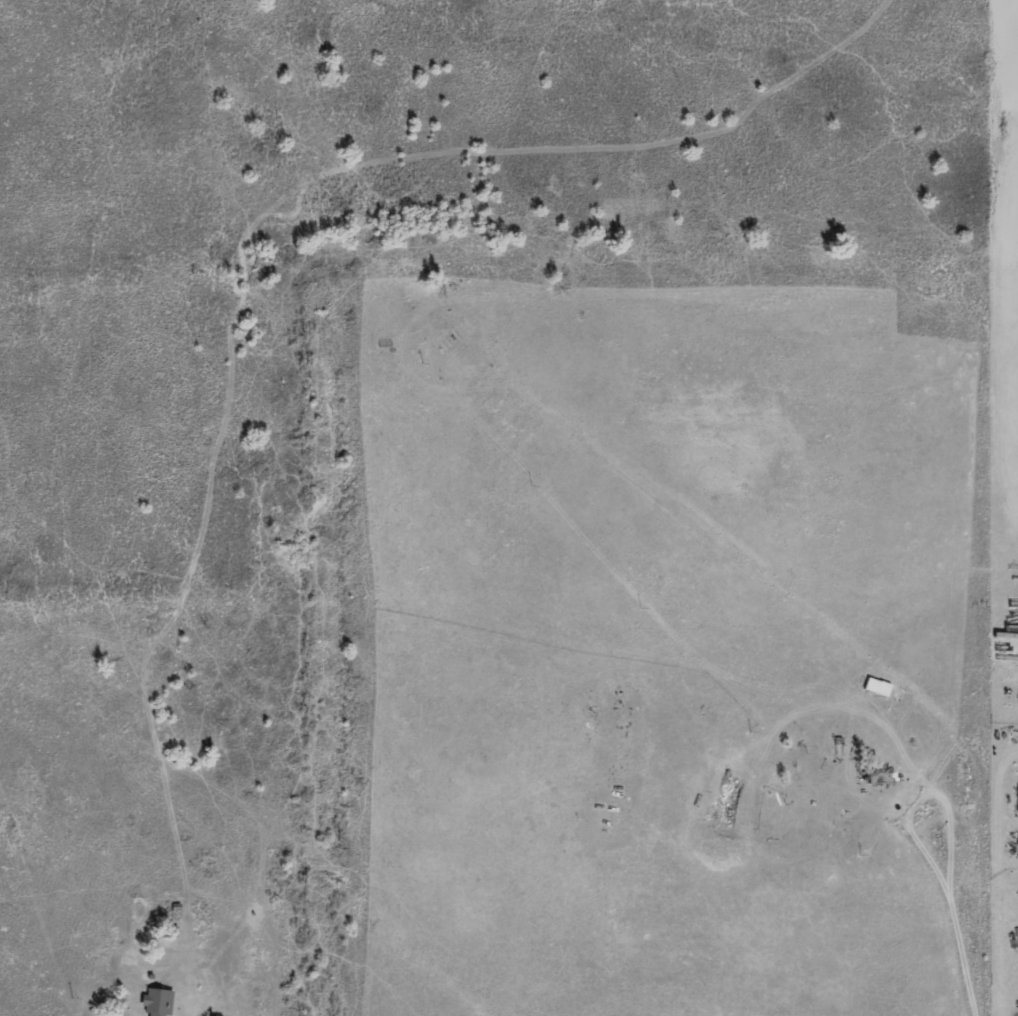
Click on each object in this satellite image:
building: (877, 689)
building: (160, 1003)

